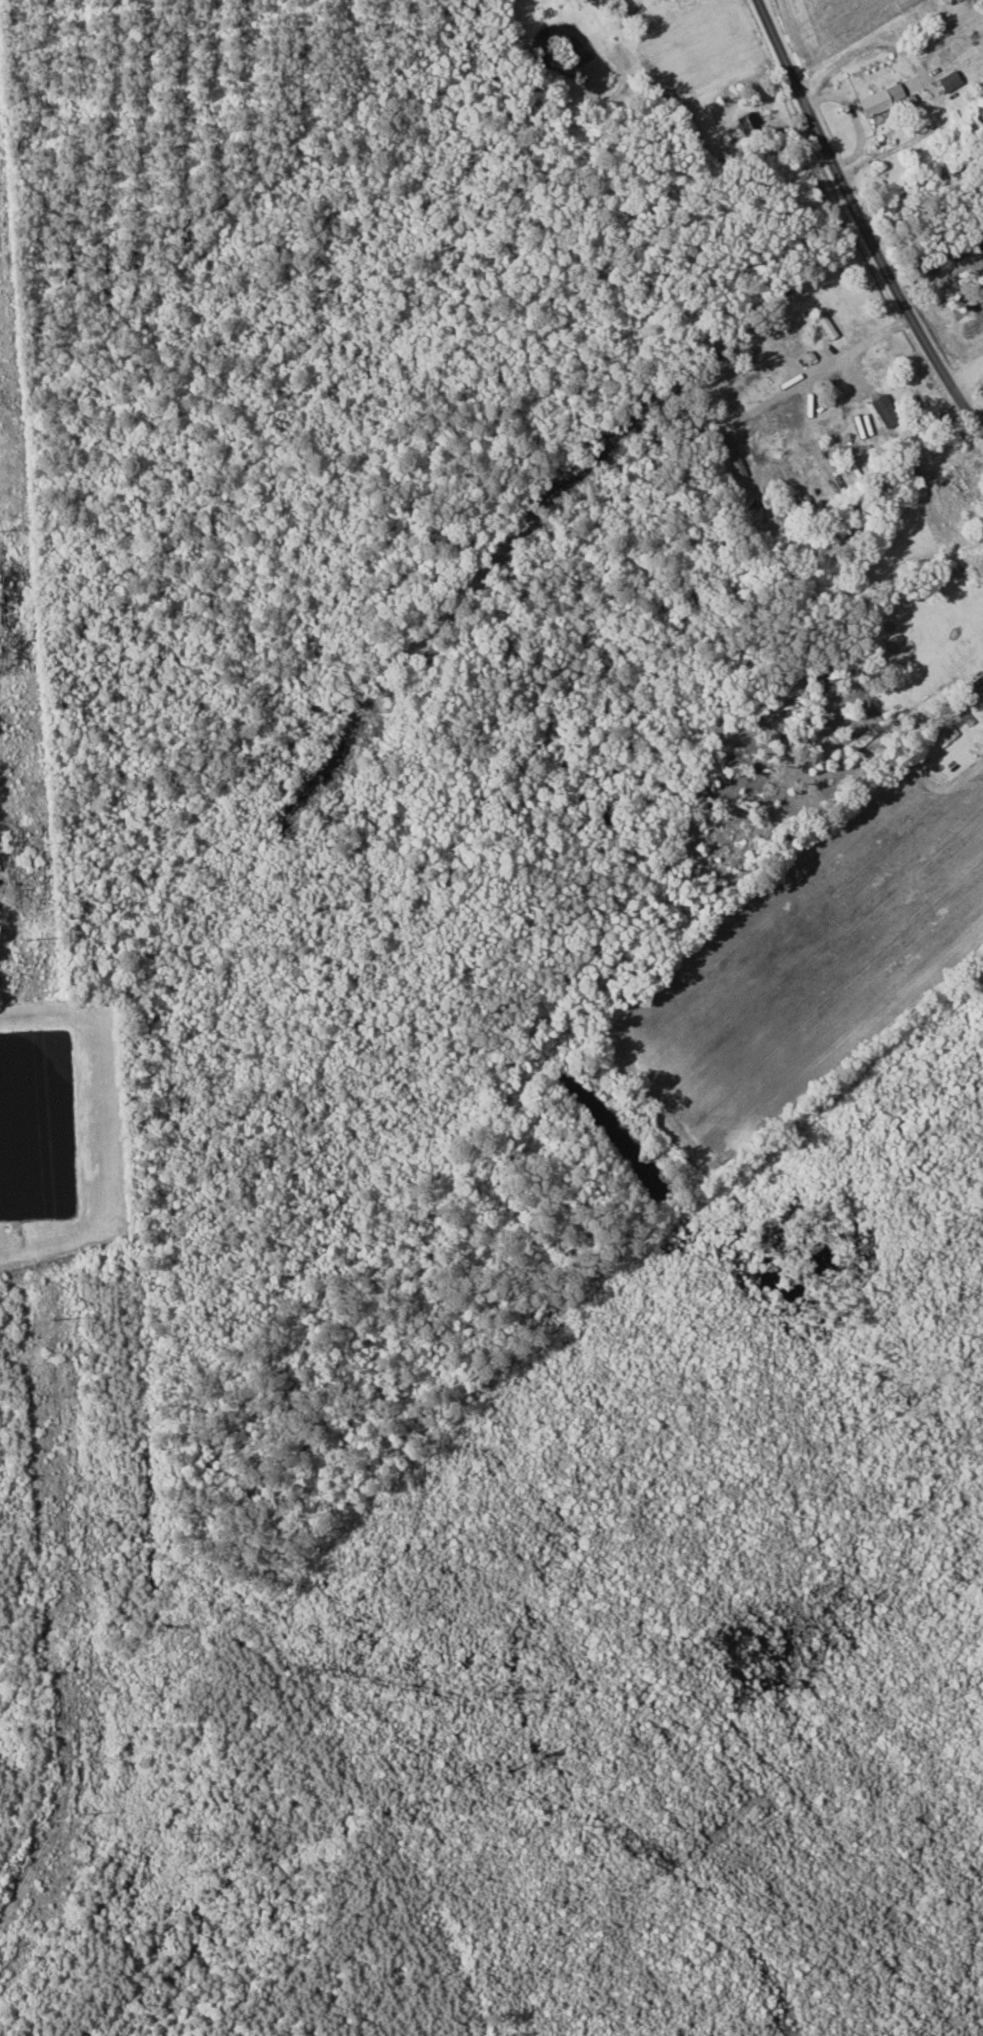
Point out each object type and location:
building: (948, 81)
building: (879, 99)
road: (862, 221)
building: (825, 324)
building: (884, 412)
building: (733, 455)
power tower: (0, 529)
road: (734, 538)
building: (978, 685)
power tower: (27, 938)
power tower: (53, 1319)
power tower: (71, 1567)
power tower: (81, 1816)

